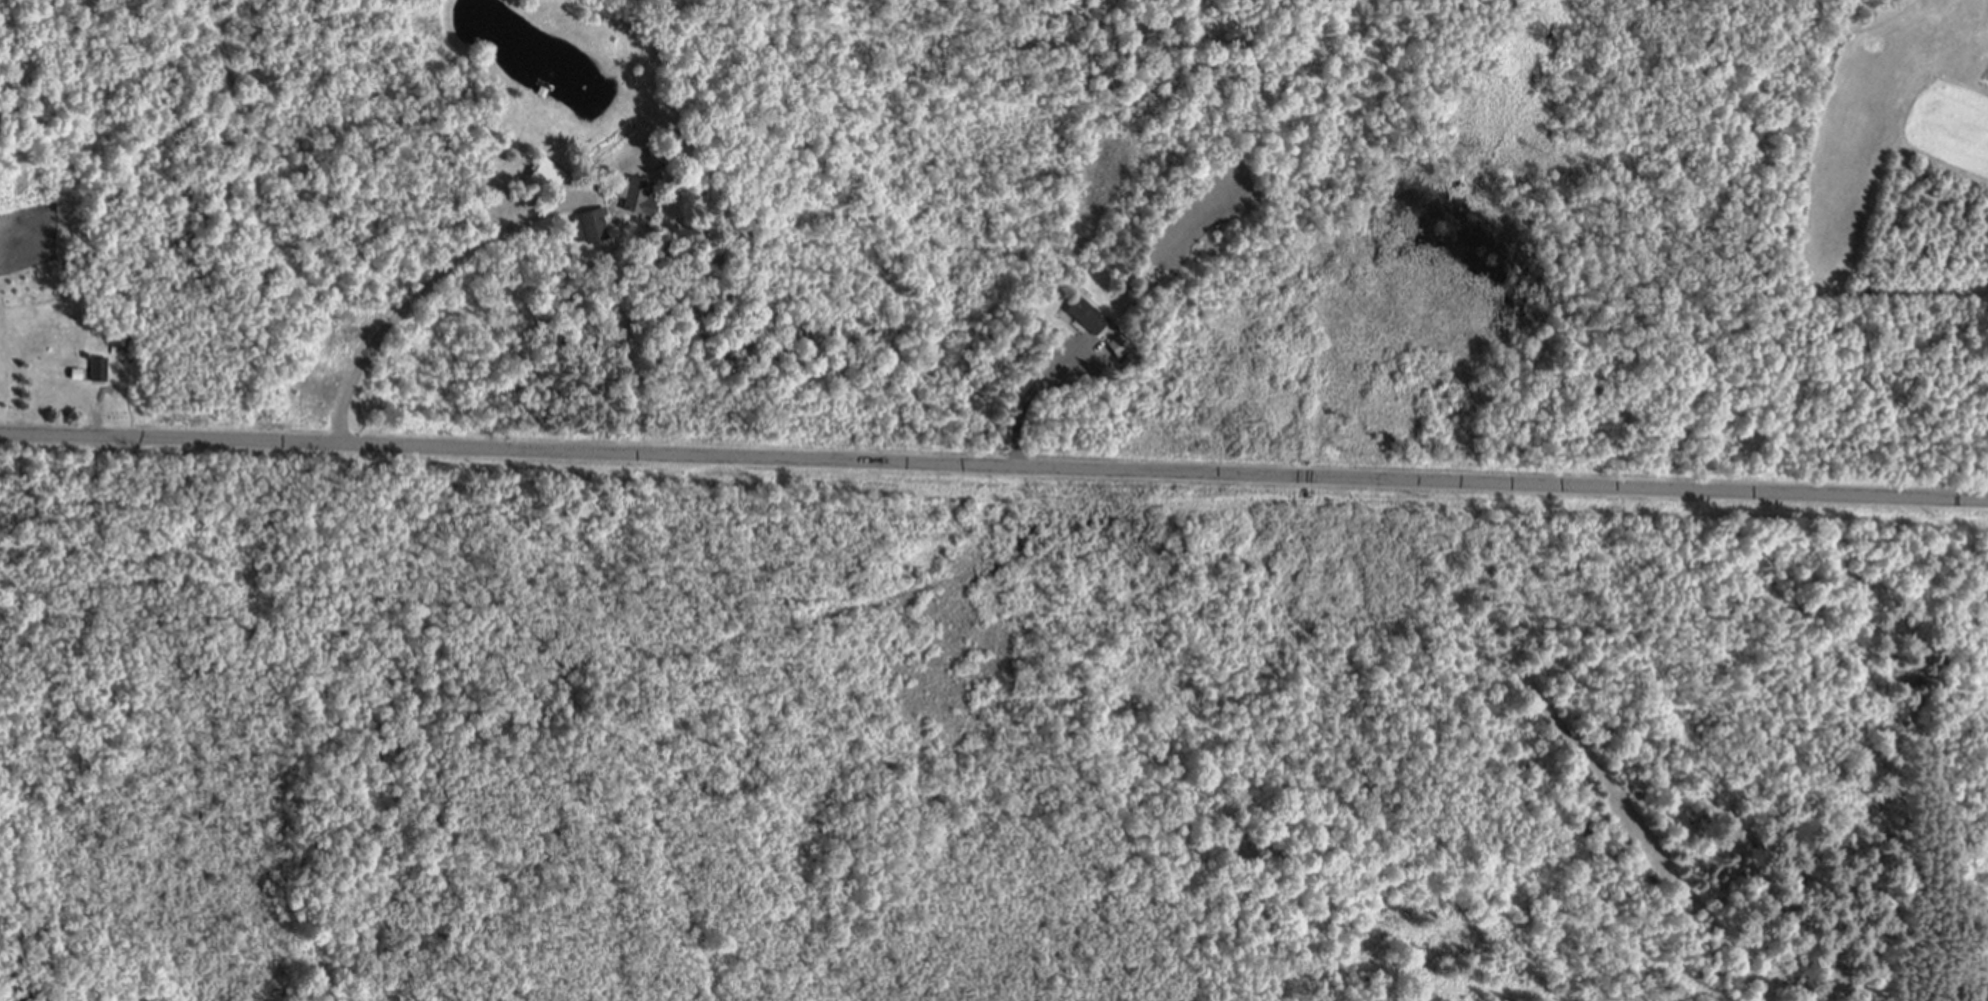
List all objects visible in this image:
building: (544, 178)
building: (639, 197)
building: (592, 226)
road: (420, 296)
building: (1083, 316)
building: (96, 367)
road: (1027, 411)
road: (994, 465)

